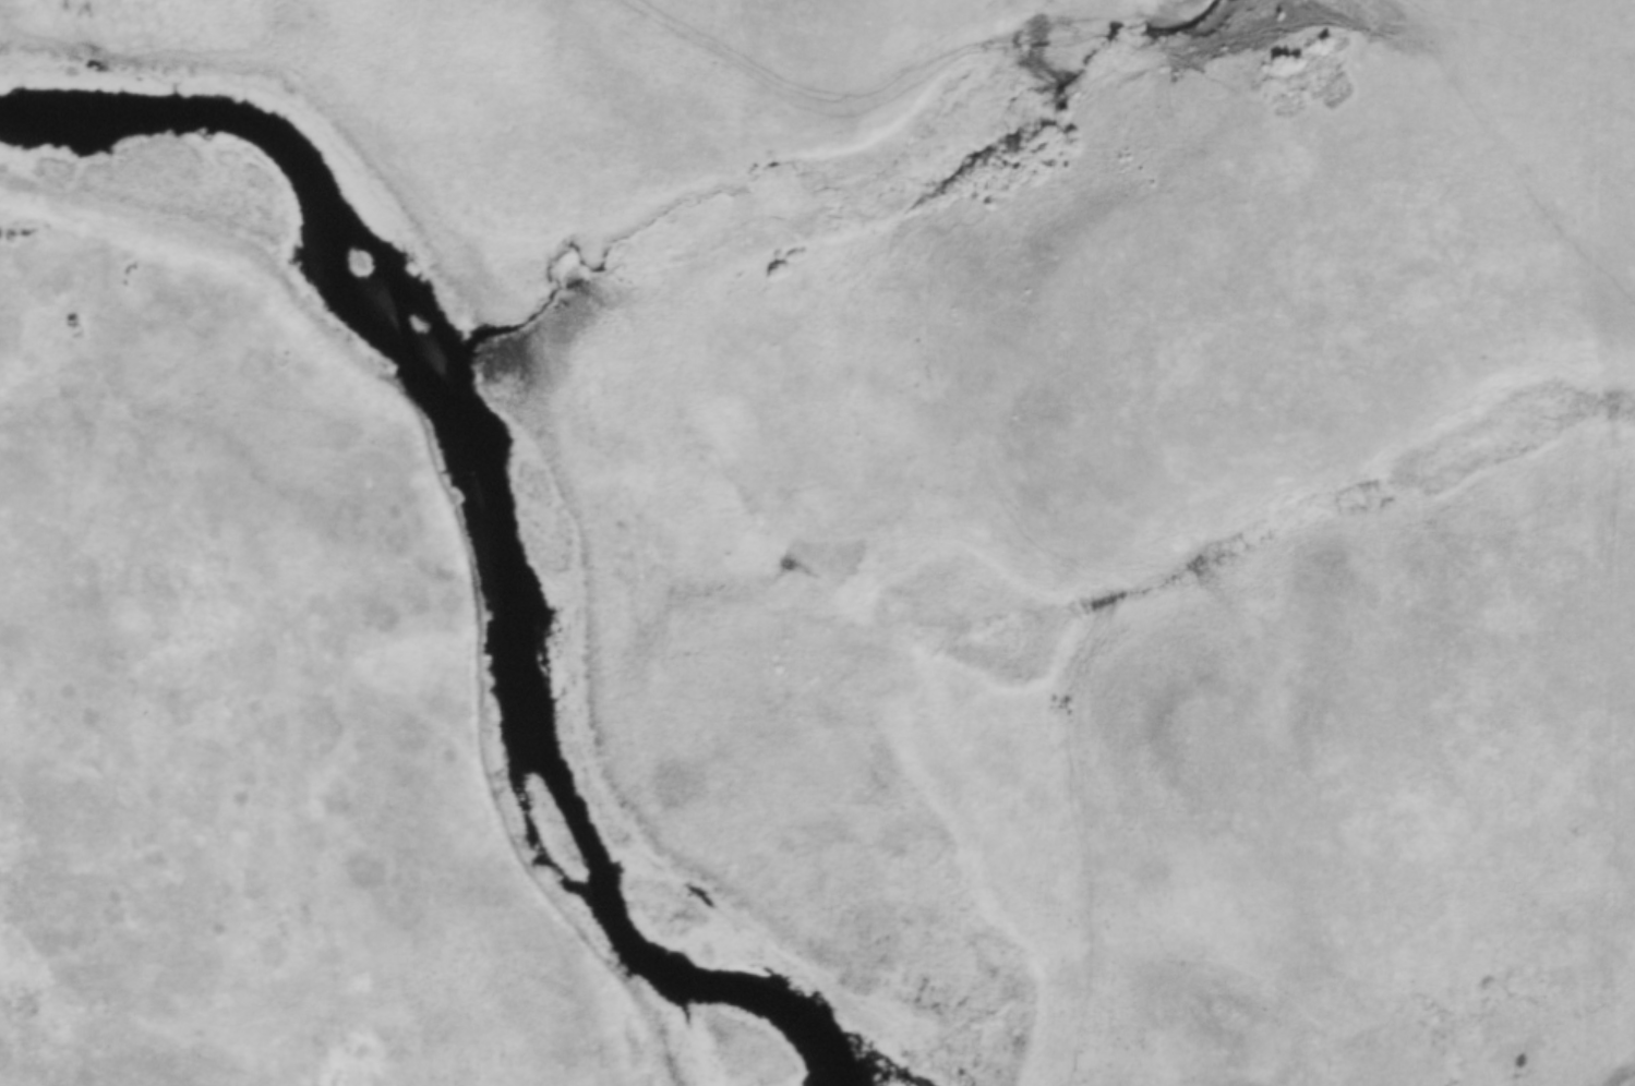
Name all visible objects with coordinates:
road: (1488, 128)
road: (1610, 438)

